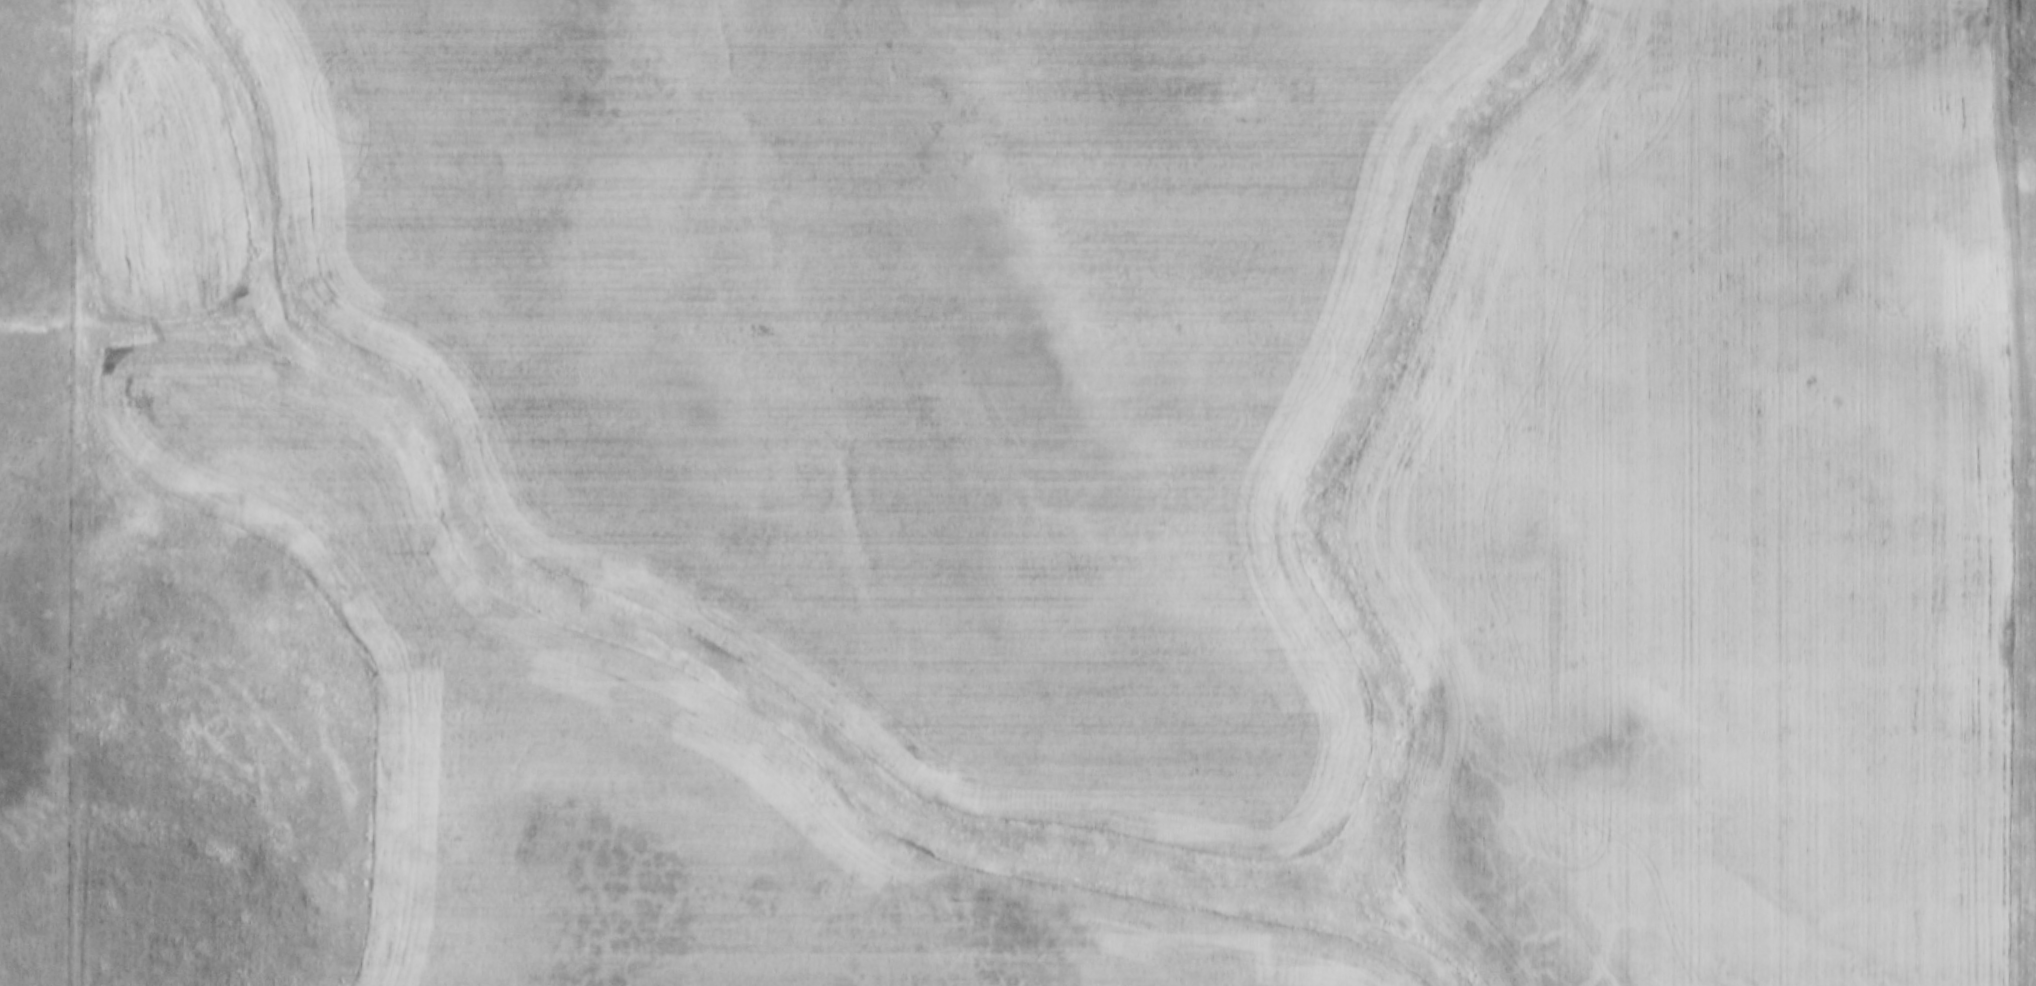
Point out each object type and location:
road: (128, 4)

